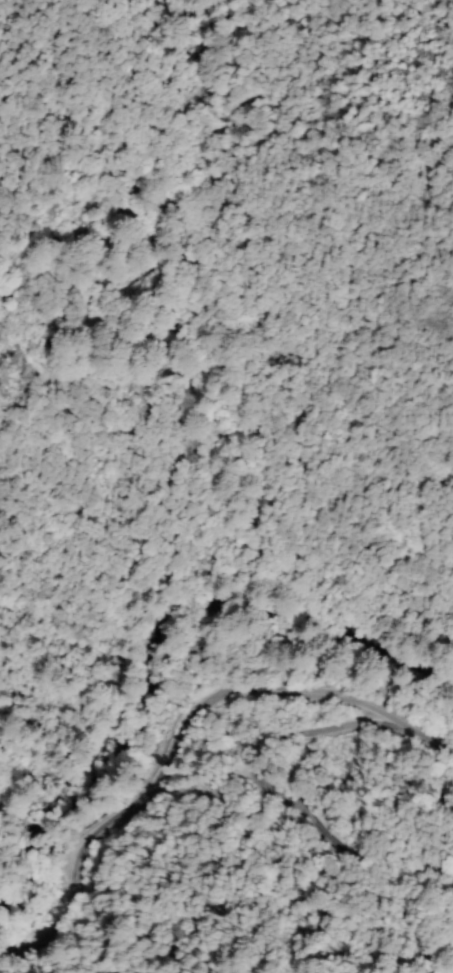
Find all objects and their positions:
building: (330, 676)
road: (182, 731)

